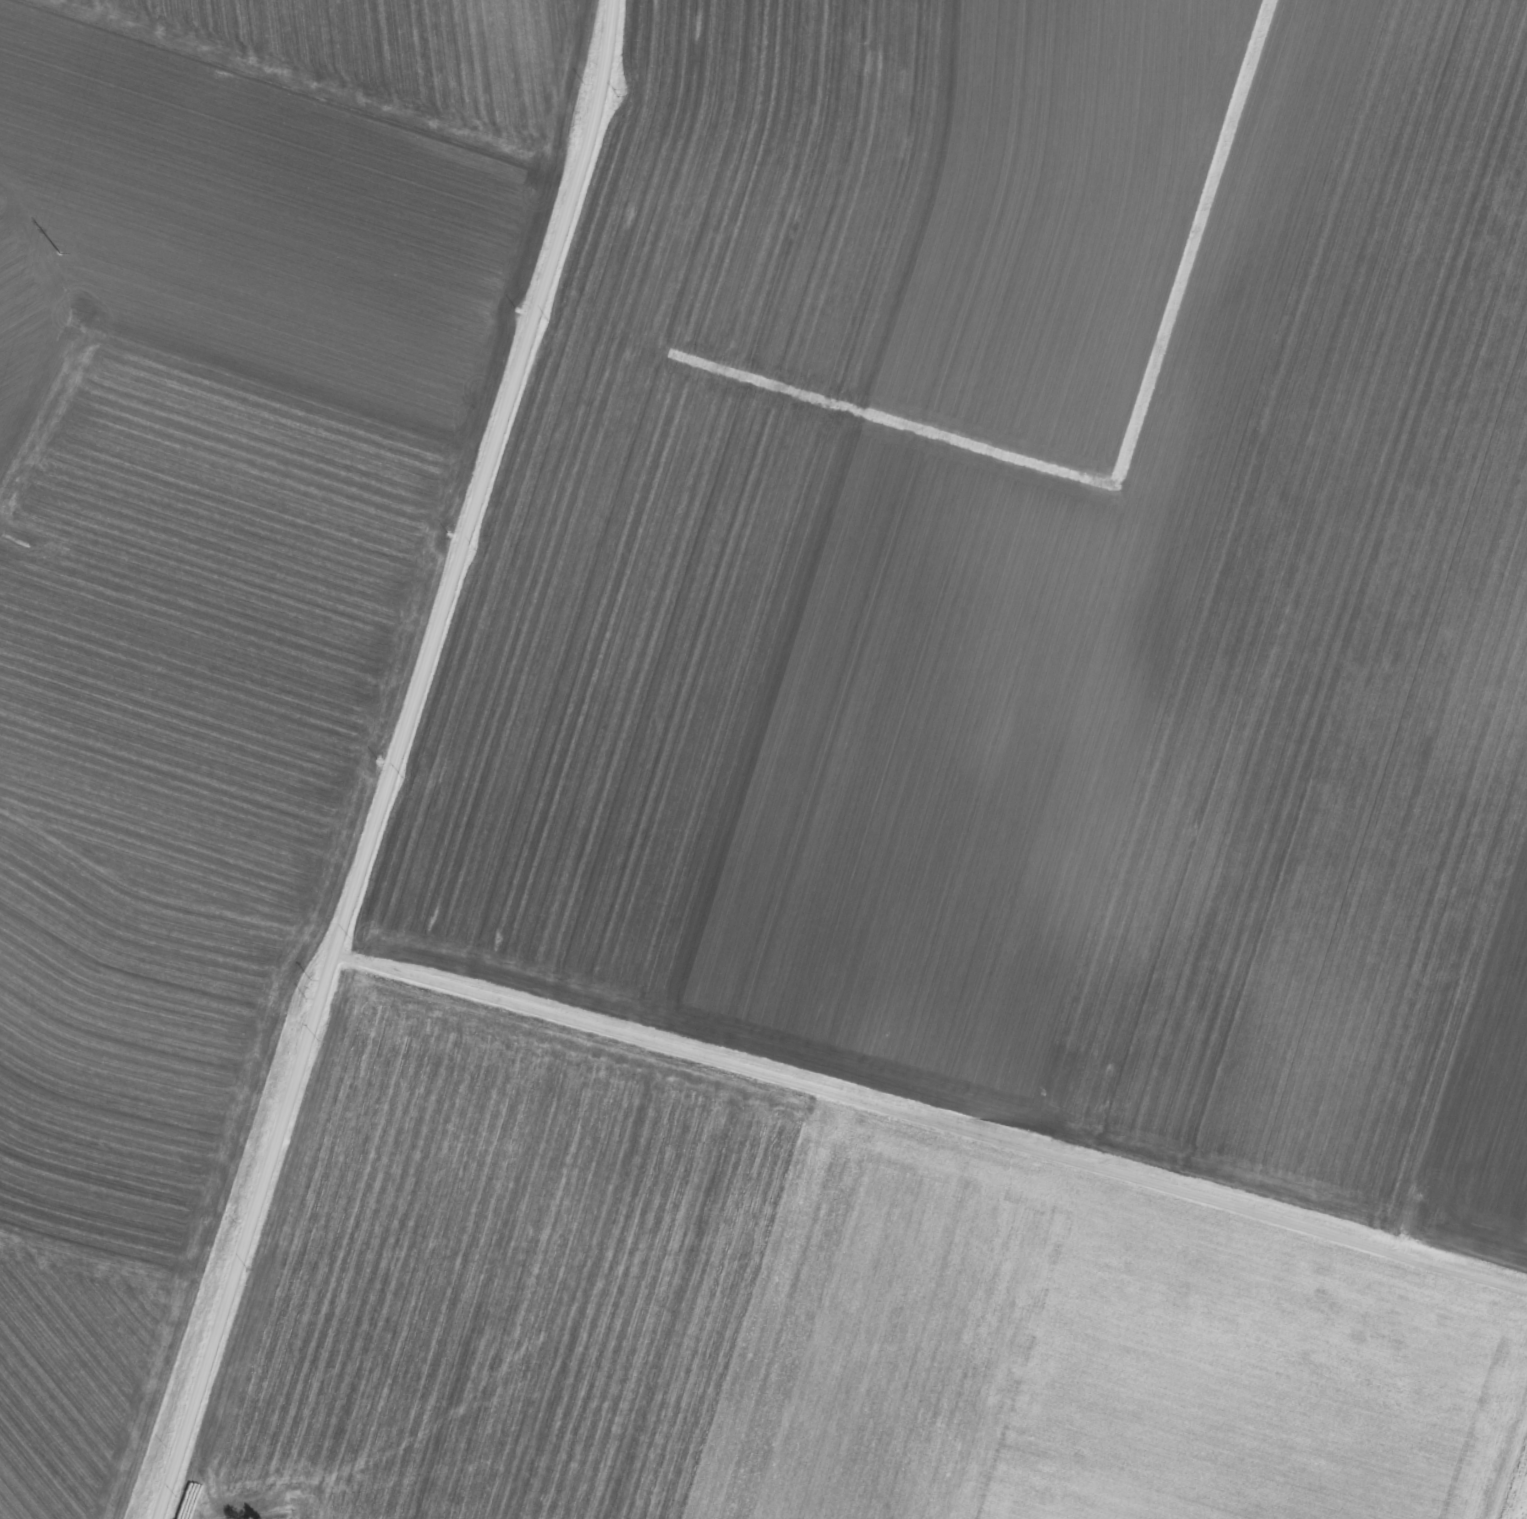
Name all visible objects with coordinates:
power tower: (57, 254)
road: (394, 761)

